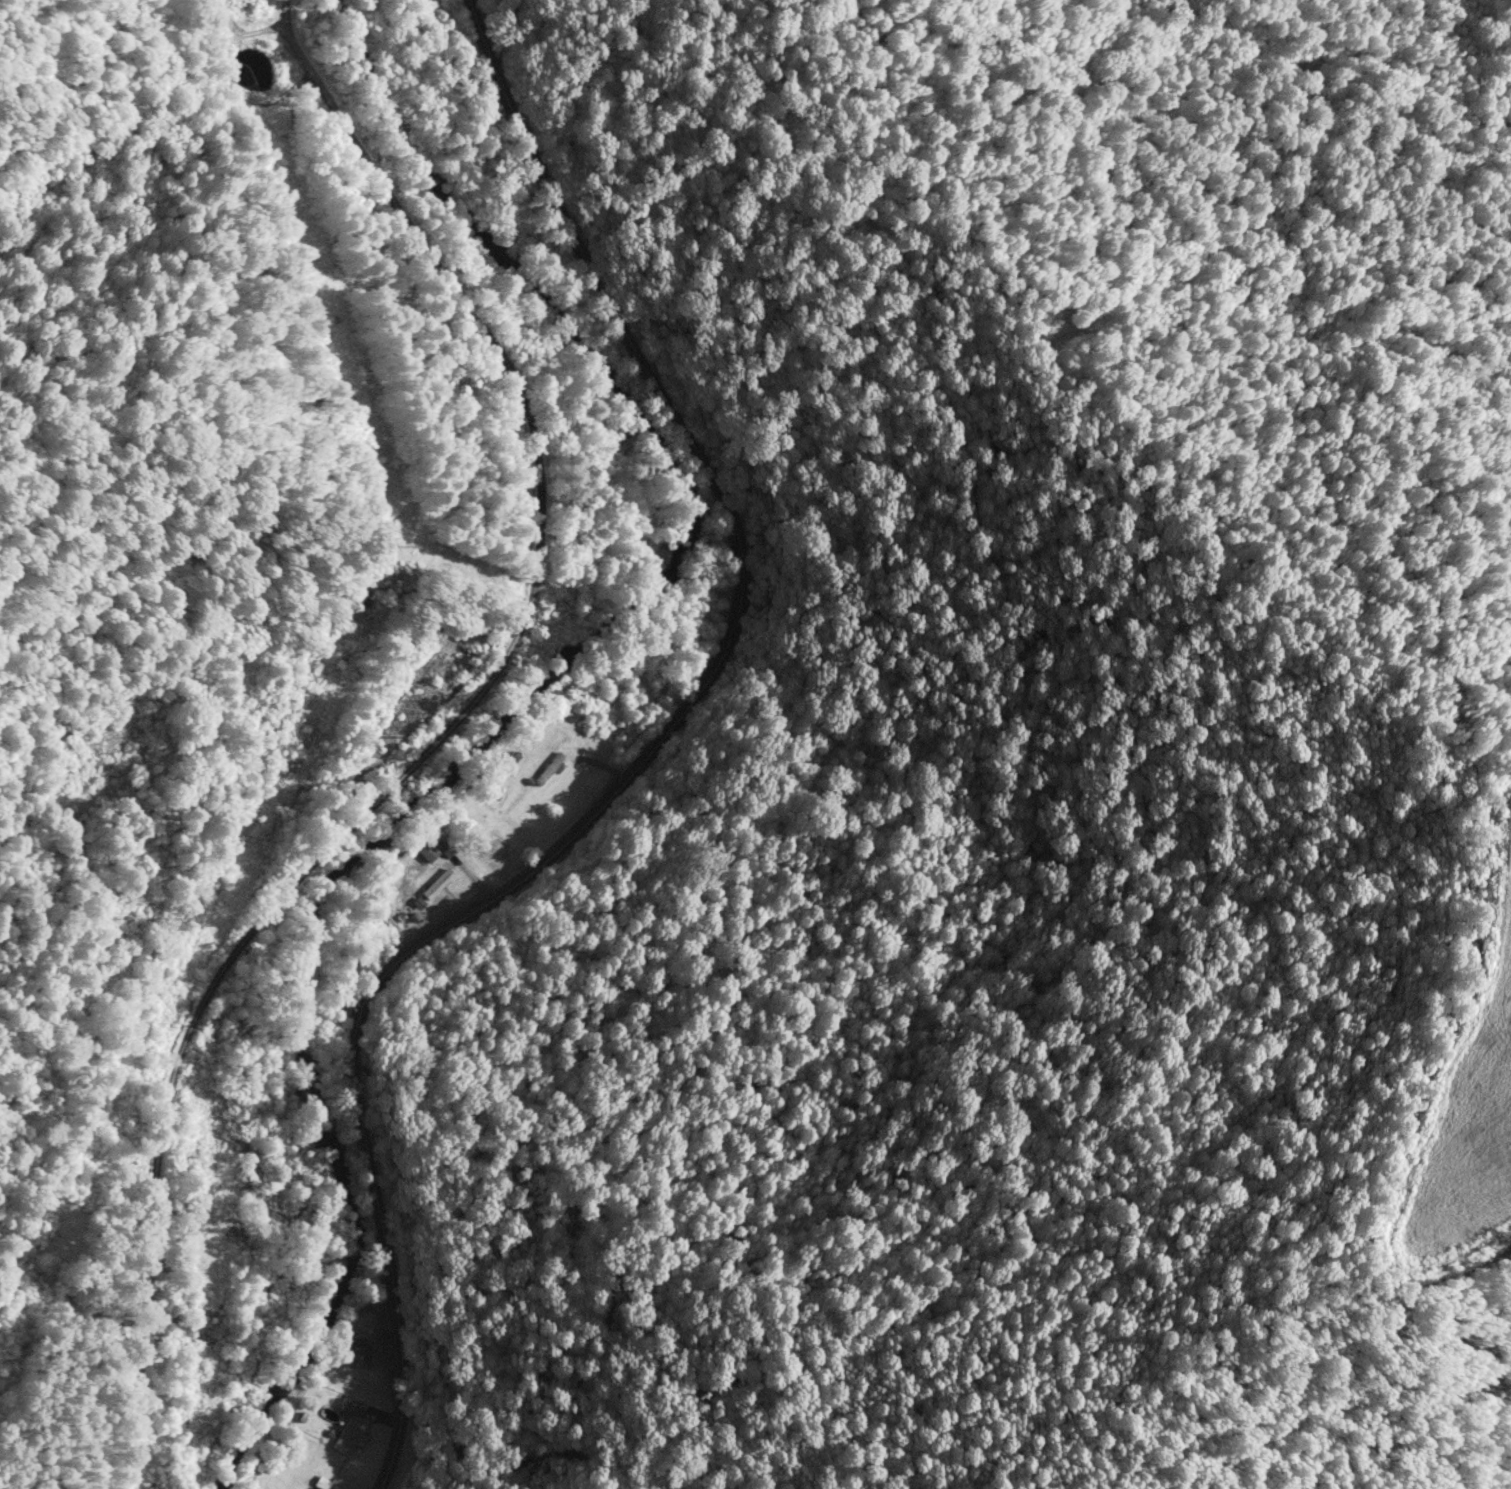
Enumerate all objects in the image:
road: (632, 762)
building: (548, 769)
building: (425, 851)
building: (493, 855)
building: (437, 884)
quarry: (1457, 1119)
building: (346, 1349)
building: (348, 1407)
building: (347, 1437)
building: (311, 1488)

